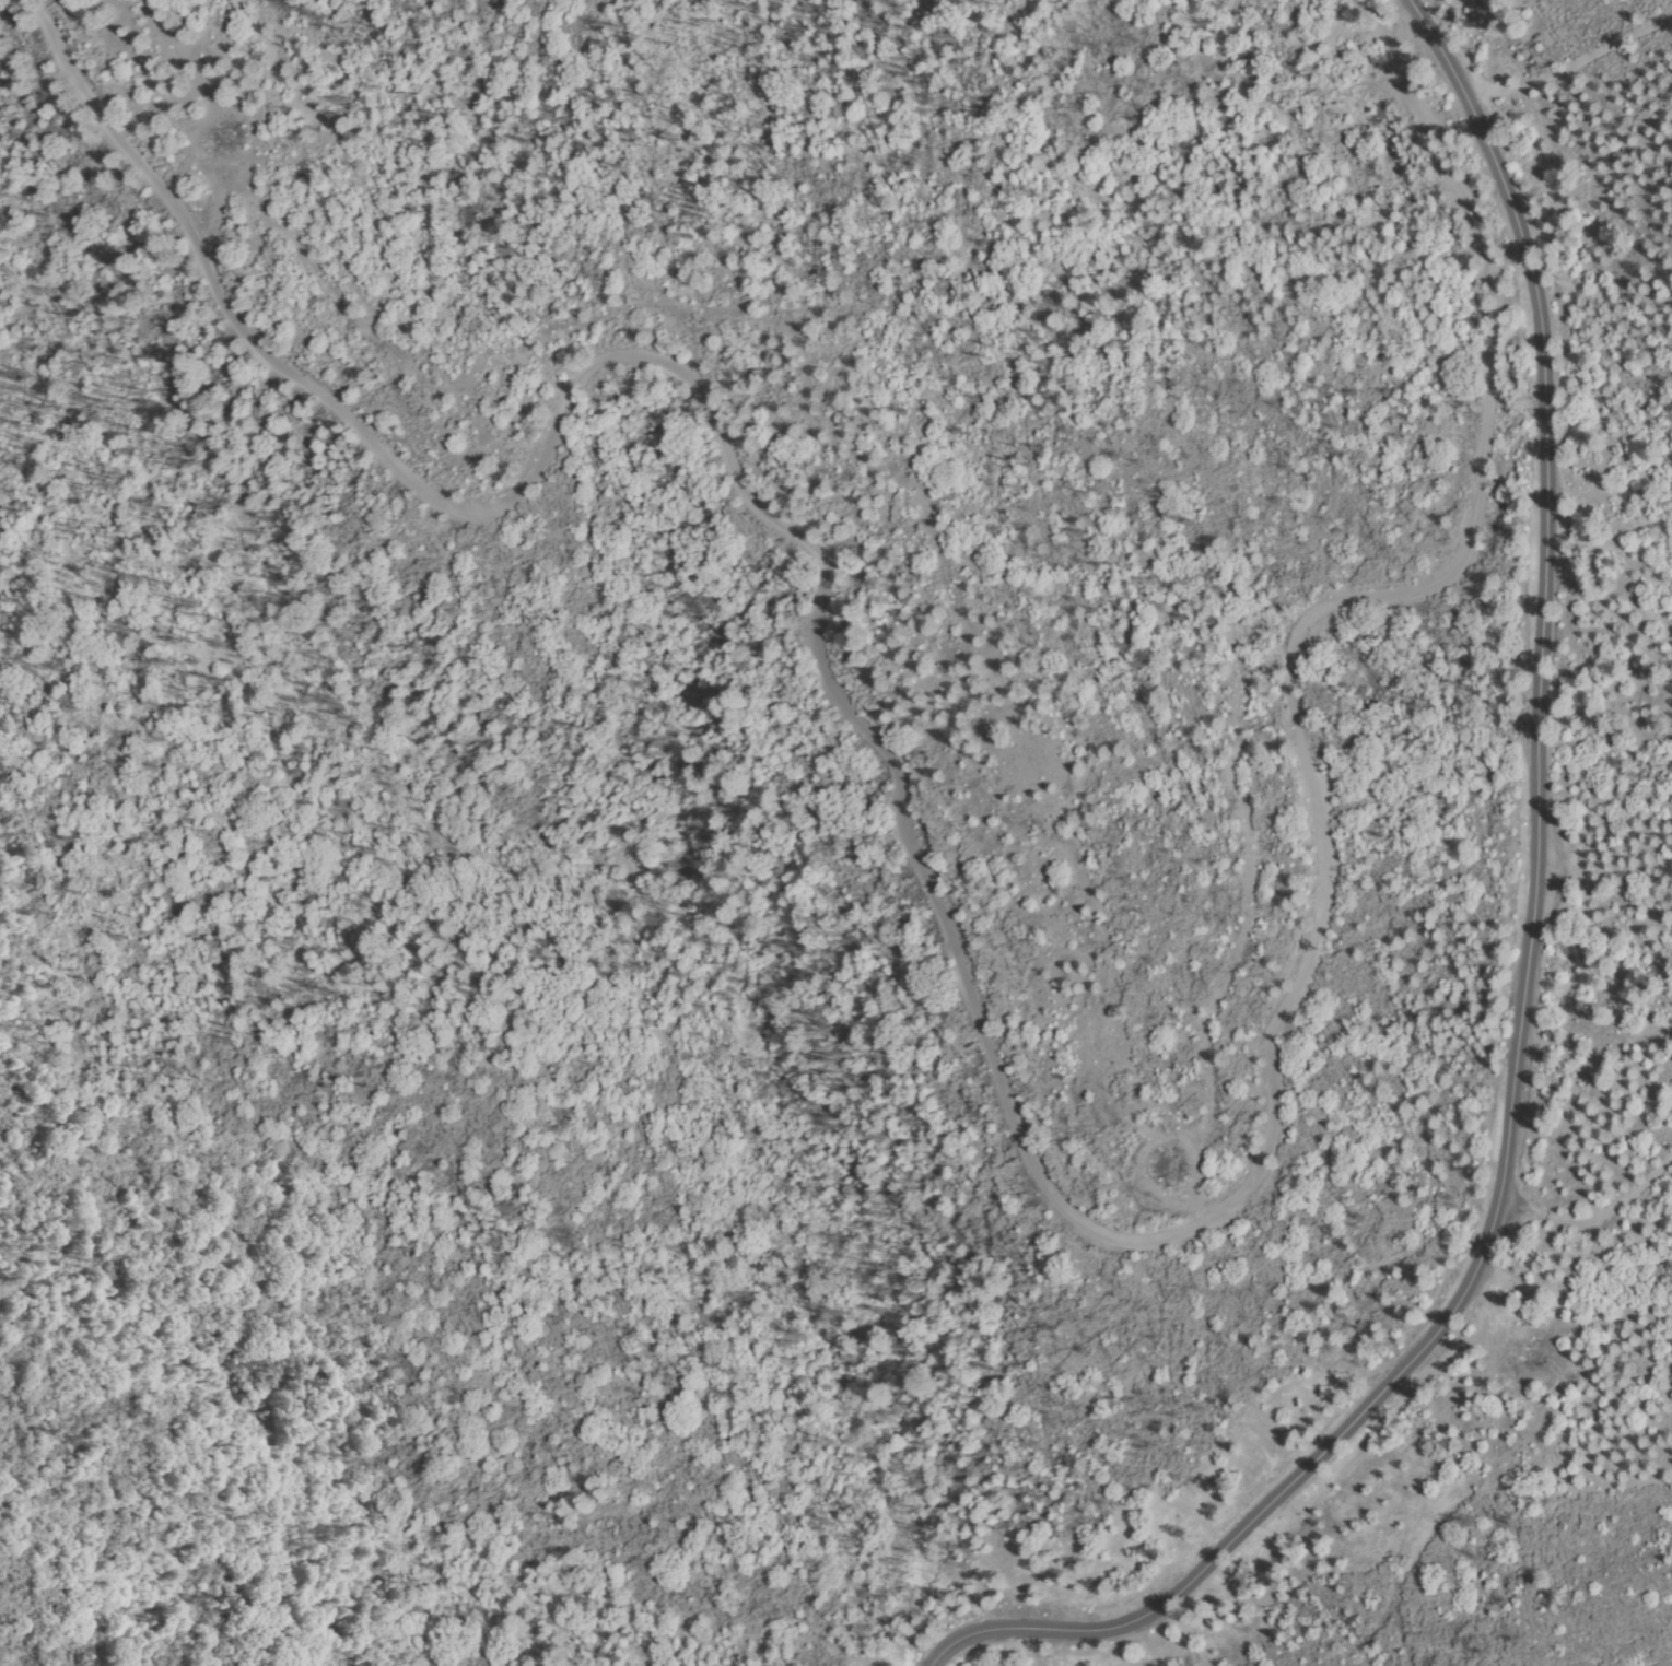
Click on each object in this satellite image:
road: (1530, 982)
road: (990, 1037)
road: (1593, 1224)

